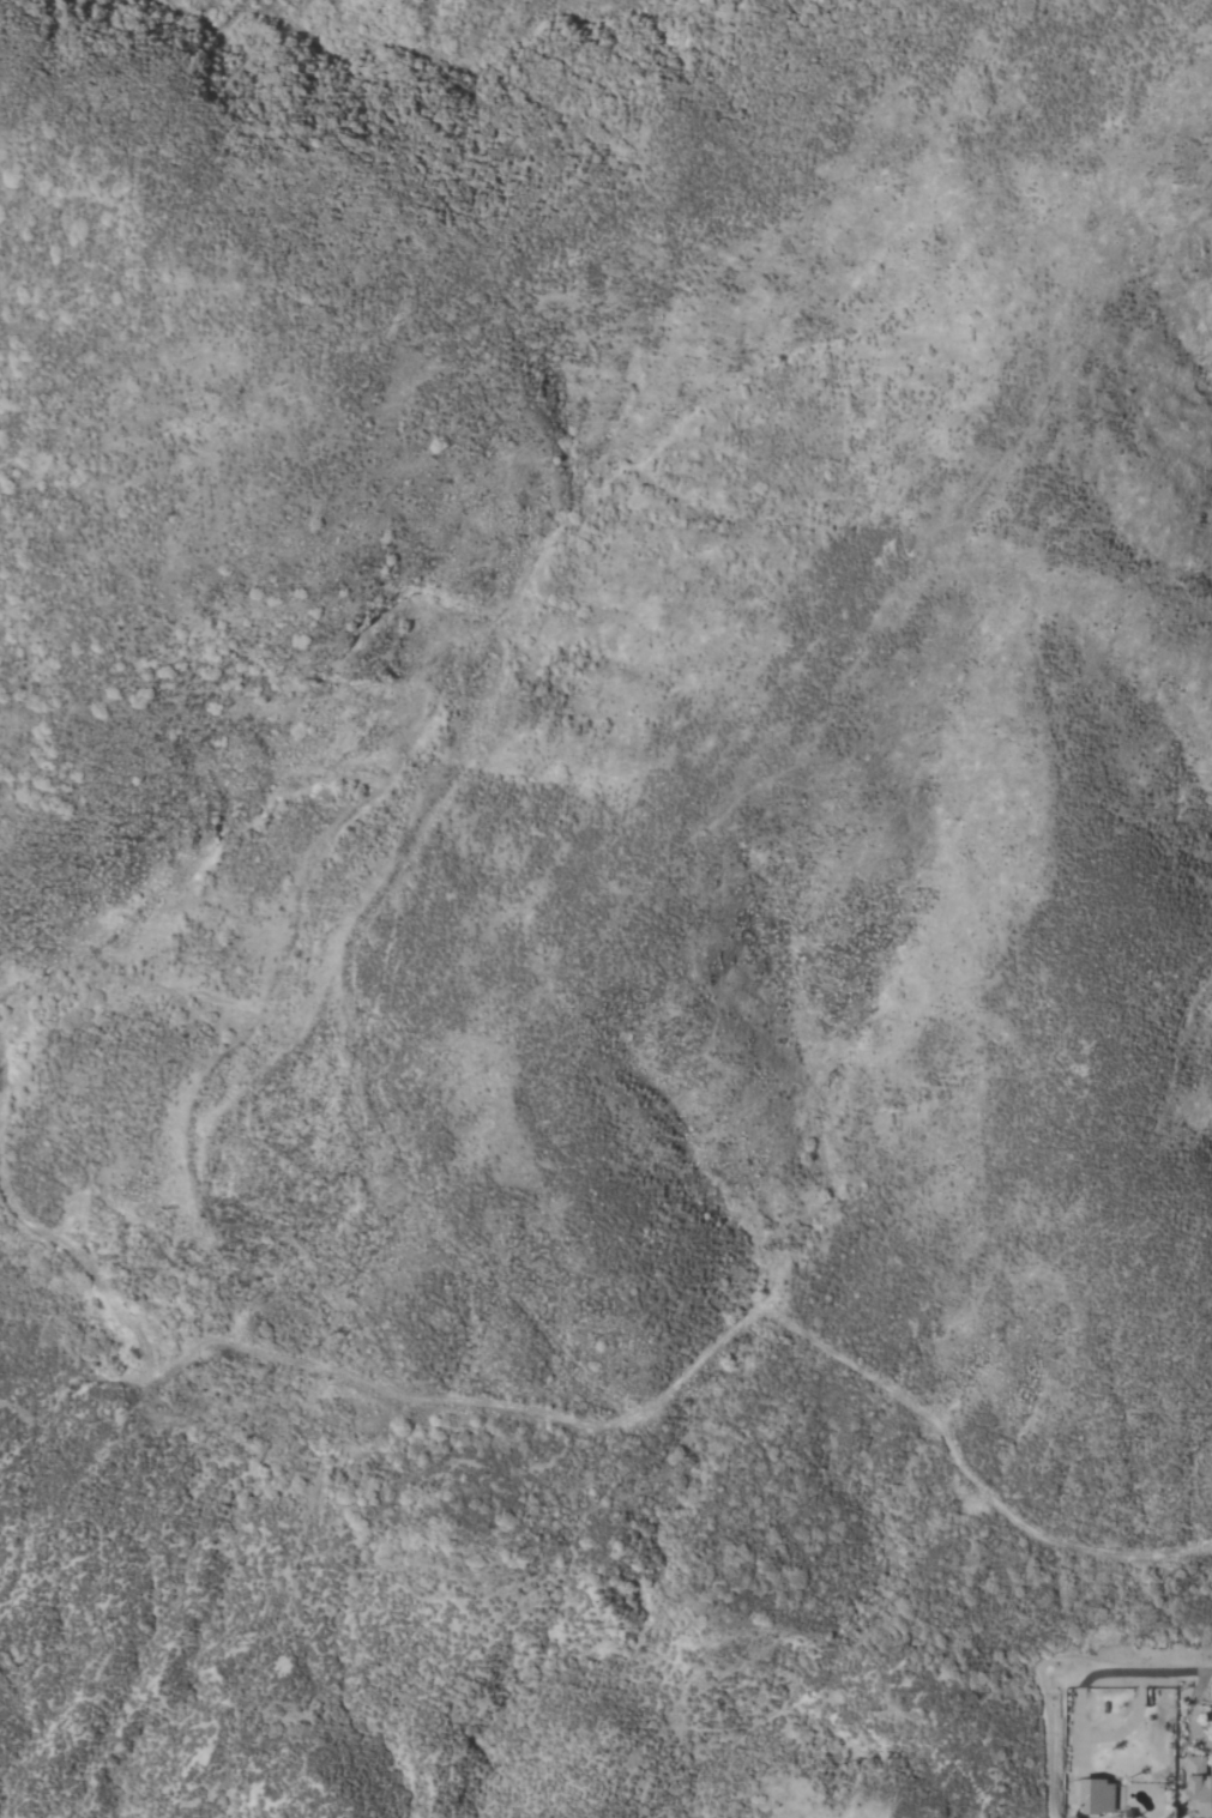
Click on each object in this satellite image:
road: (1144, 1672)
building: (1199, 1786)

